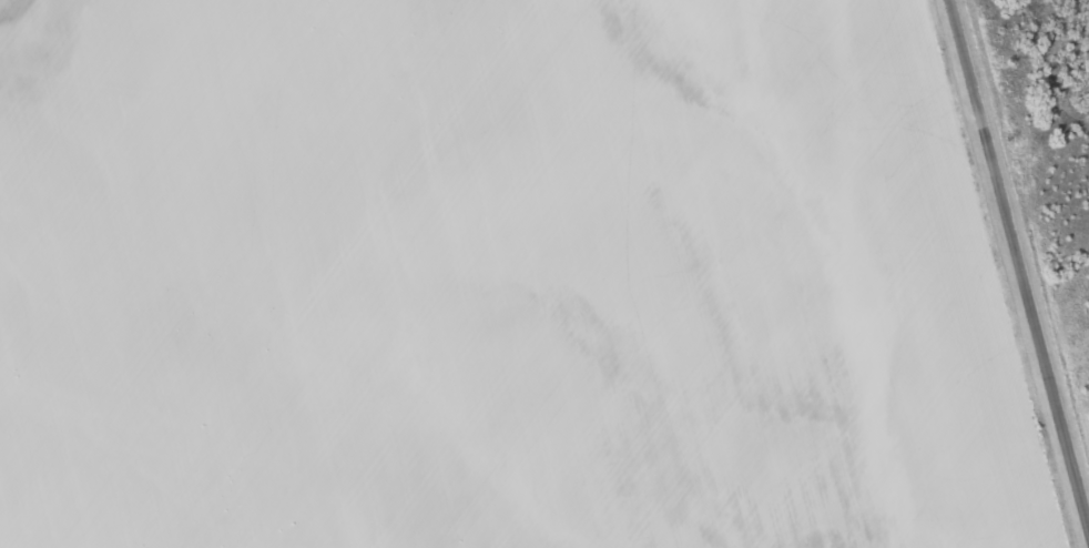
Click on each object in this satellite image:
road: (1019, 265)

